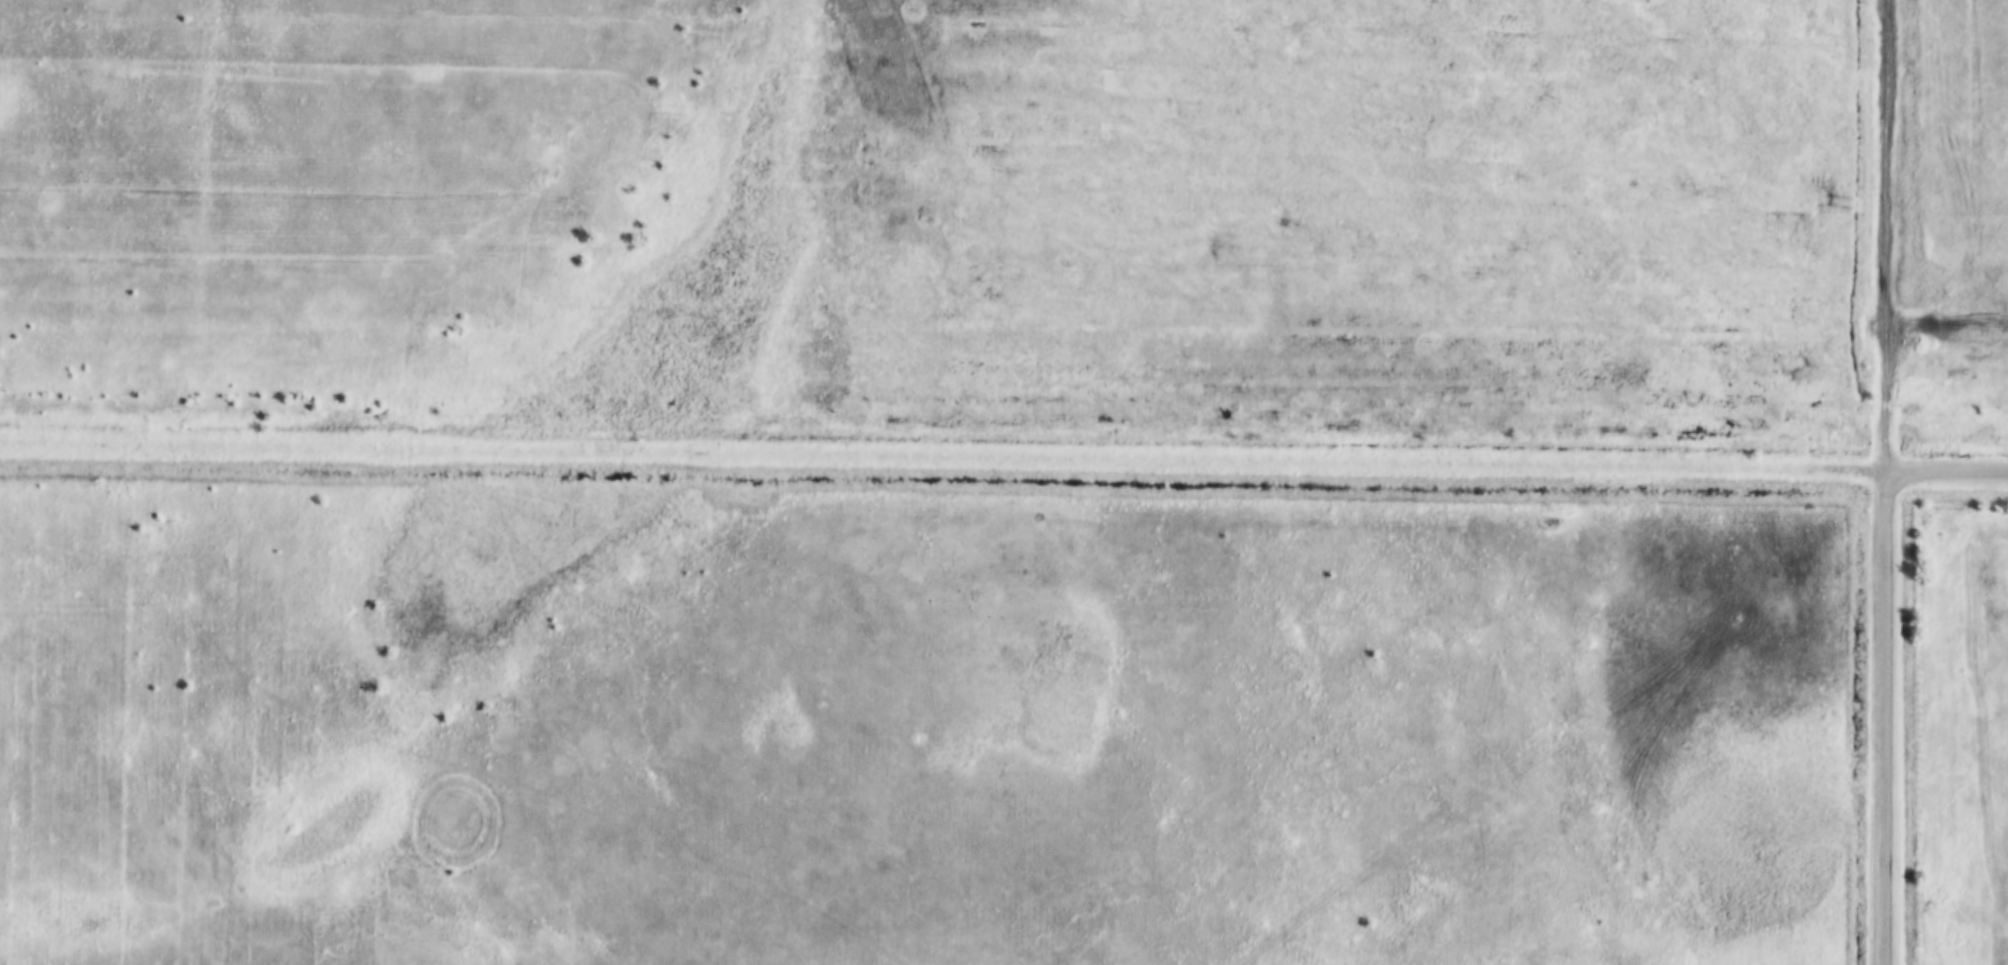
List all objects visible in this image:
road: (1891, 233)
road: (1949, 466)
airport: (930, 482)
road: (1889, 715)

